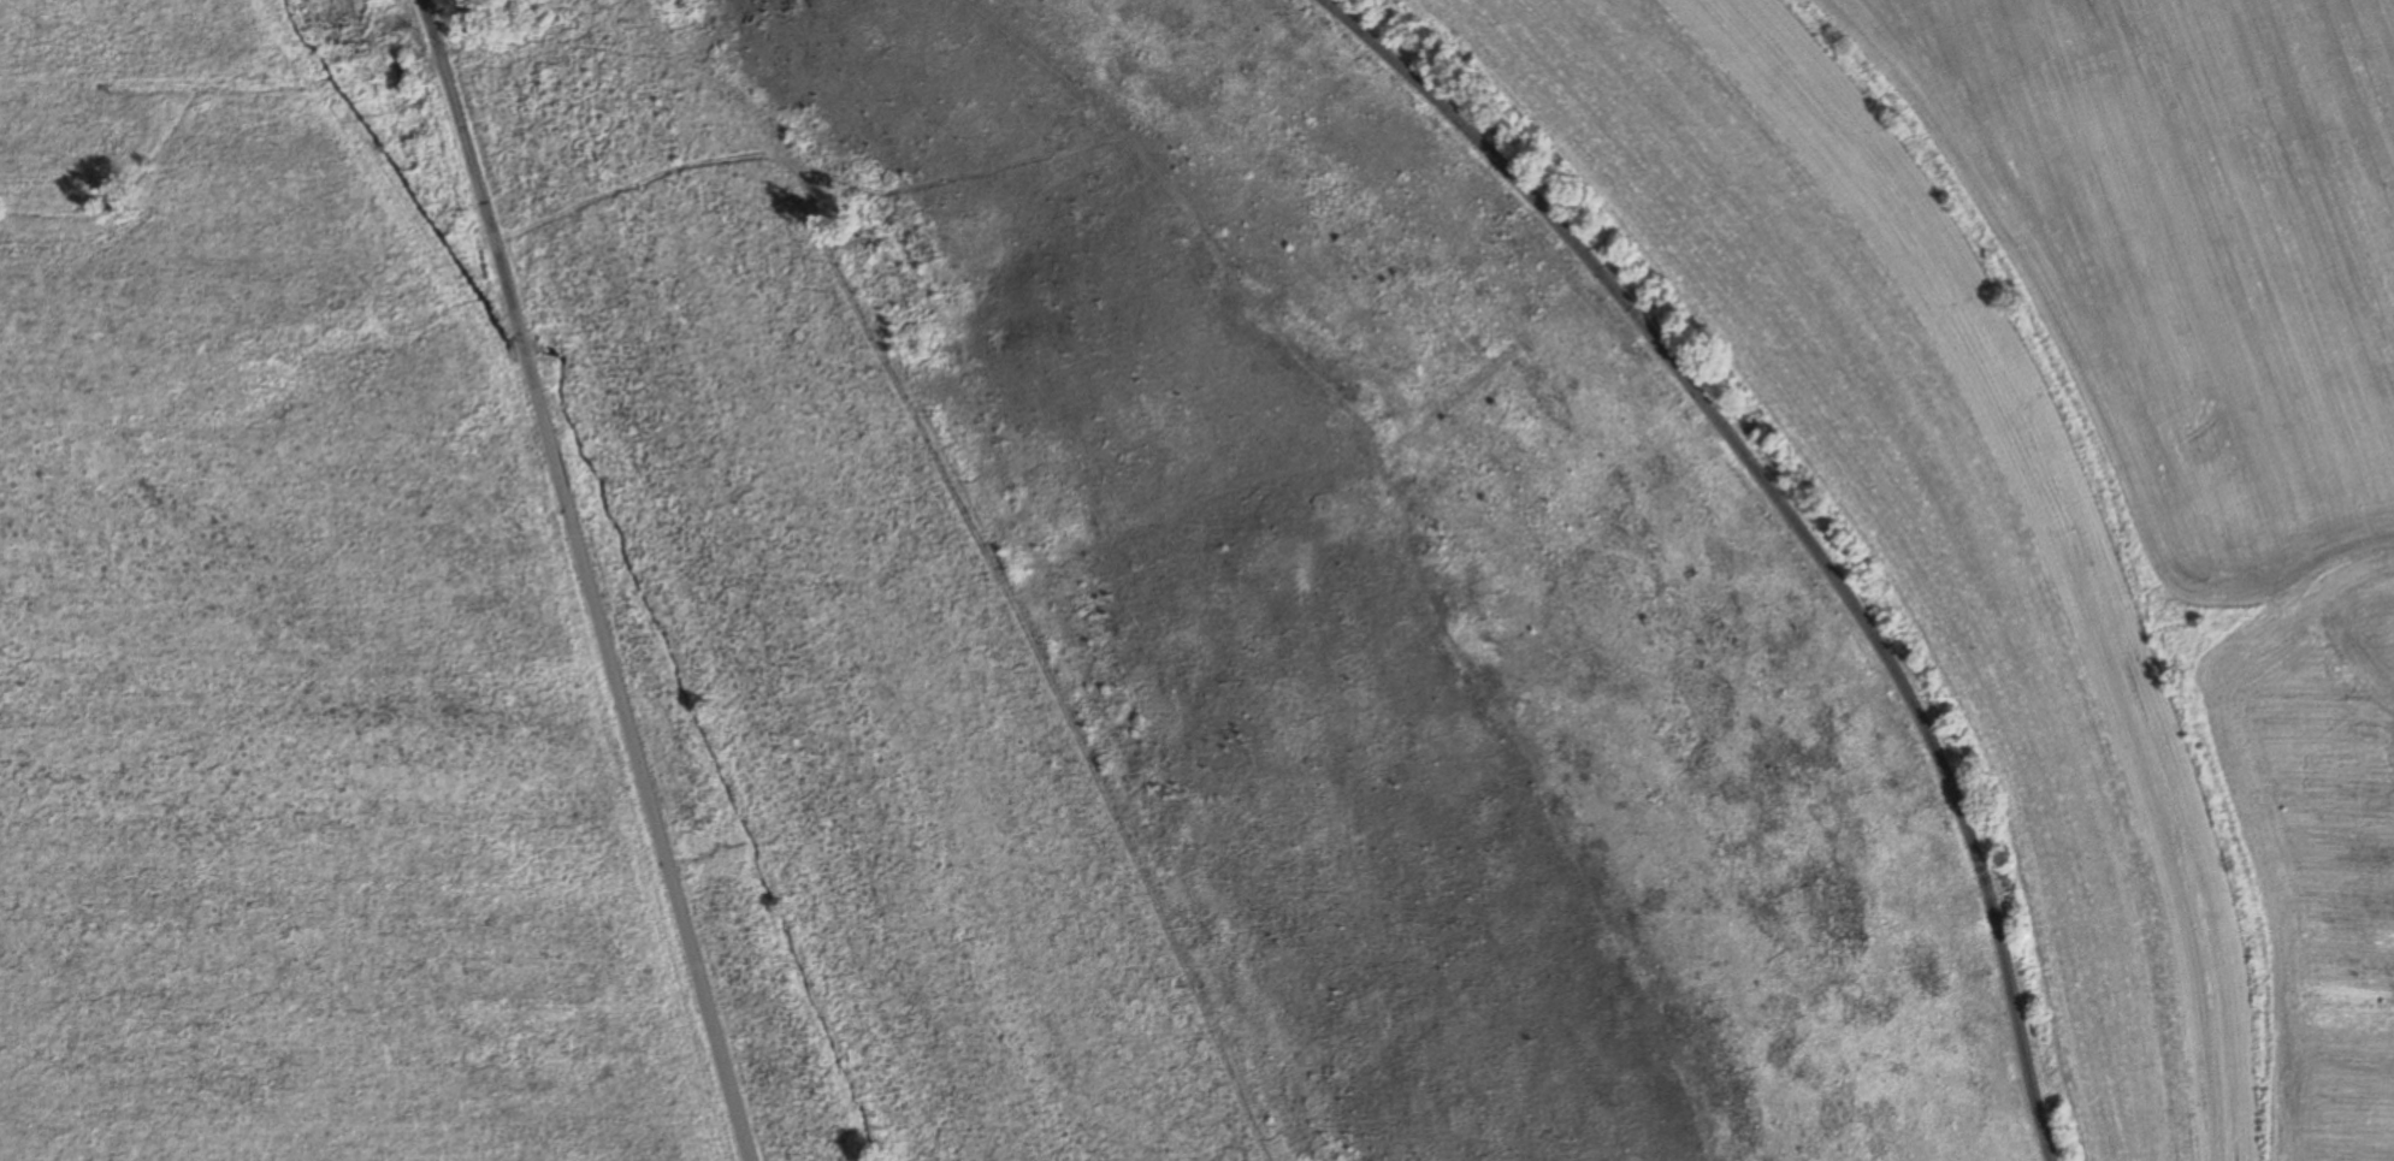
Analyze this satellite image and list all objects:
road: (1791, 519)
road: (586, 579)

